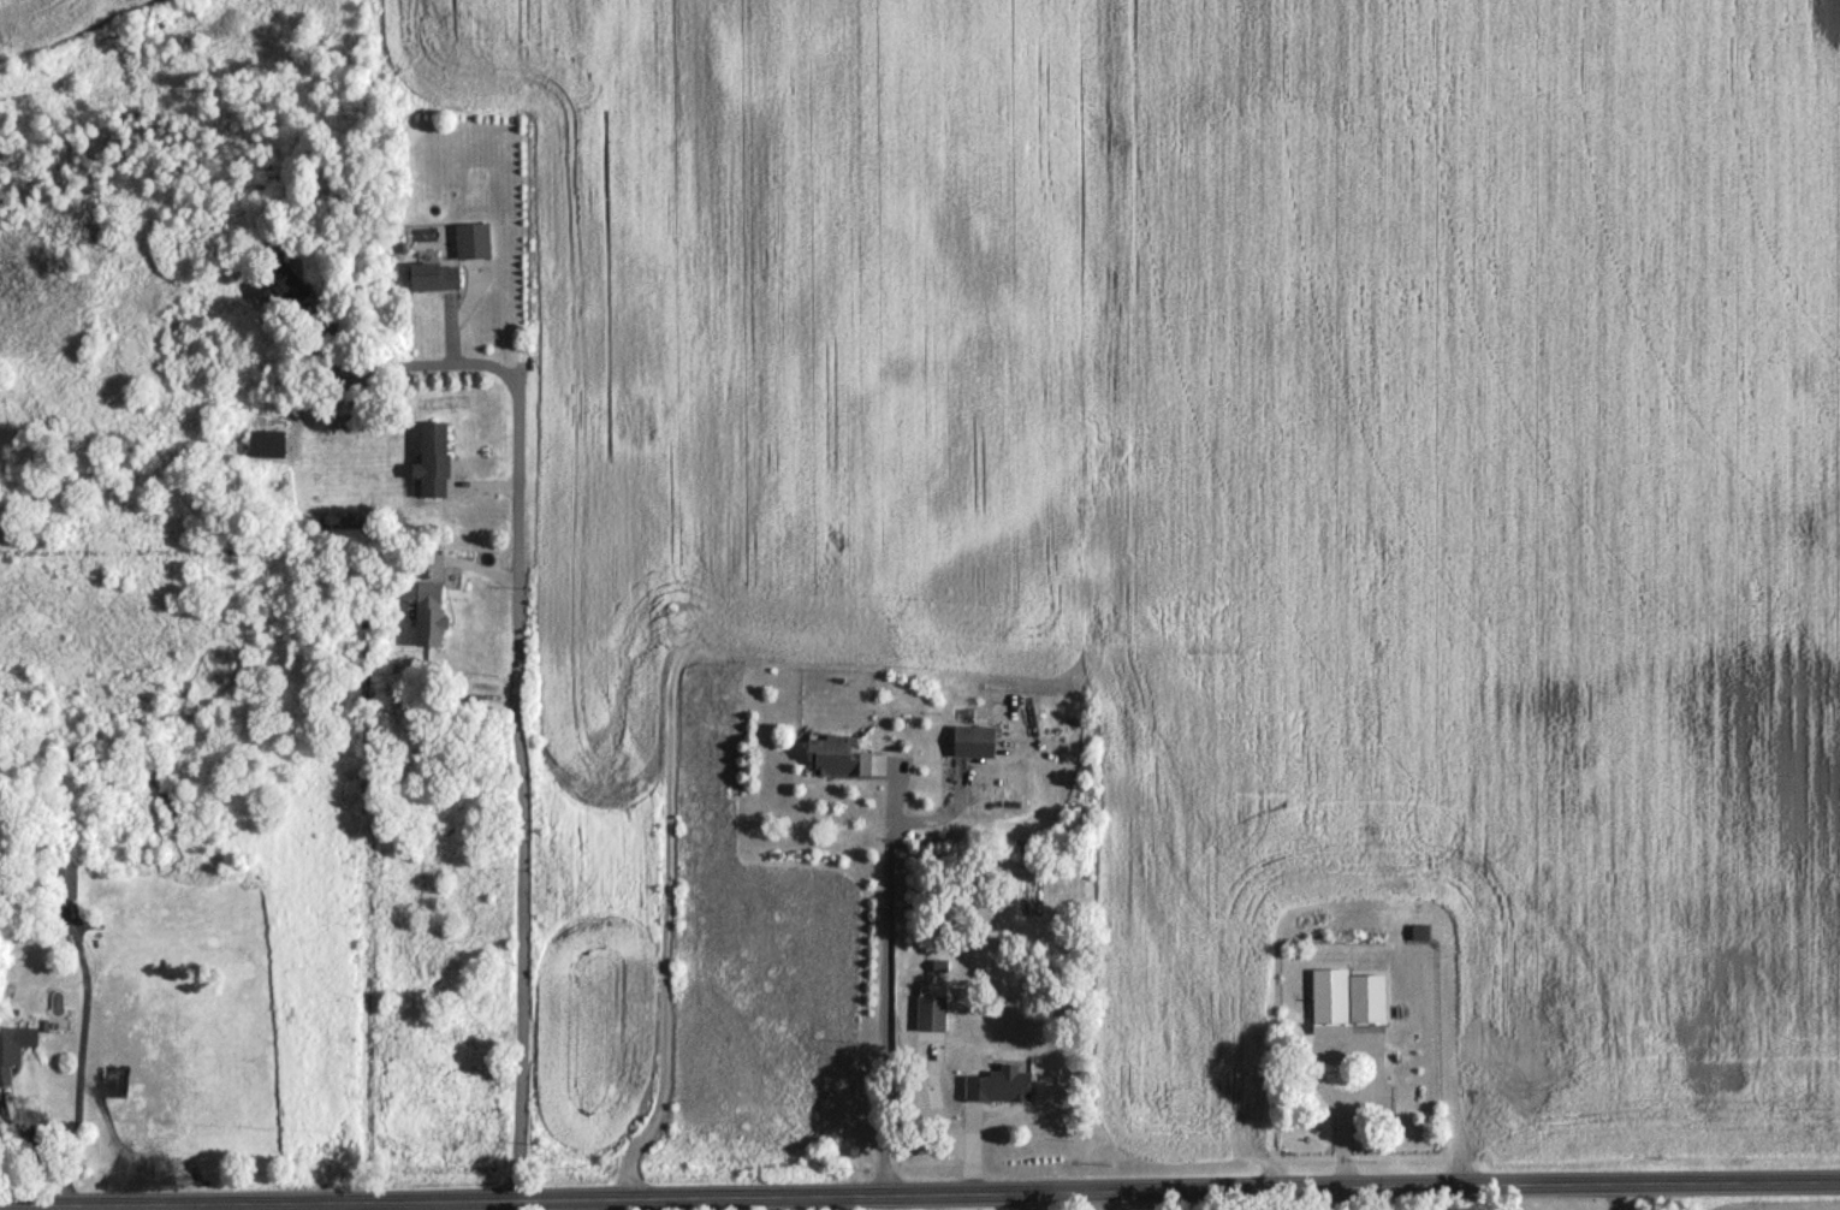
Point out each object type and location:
building: (439, 281)
building: (437, 464)
building: (432, 619)
road: (511, 653)
building: (978, 746)
building: (843, 761)
building: (67, 886)
road: (897, 963)
building: (1351, 1003)
building: (934, 1016)
building: (18, 1046)
road: (1322, 1050)
road: (83, 1058)
building: (1002, 1092)
road: (920, 1193)
road: (1613, 1197)

